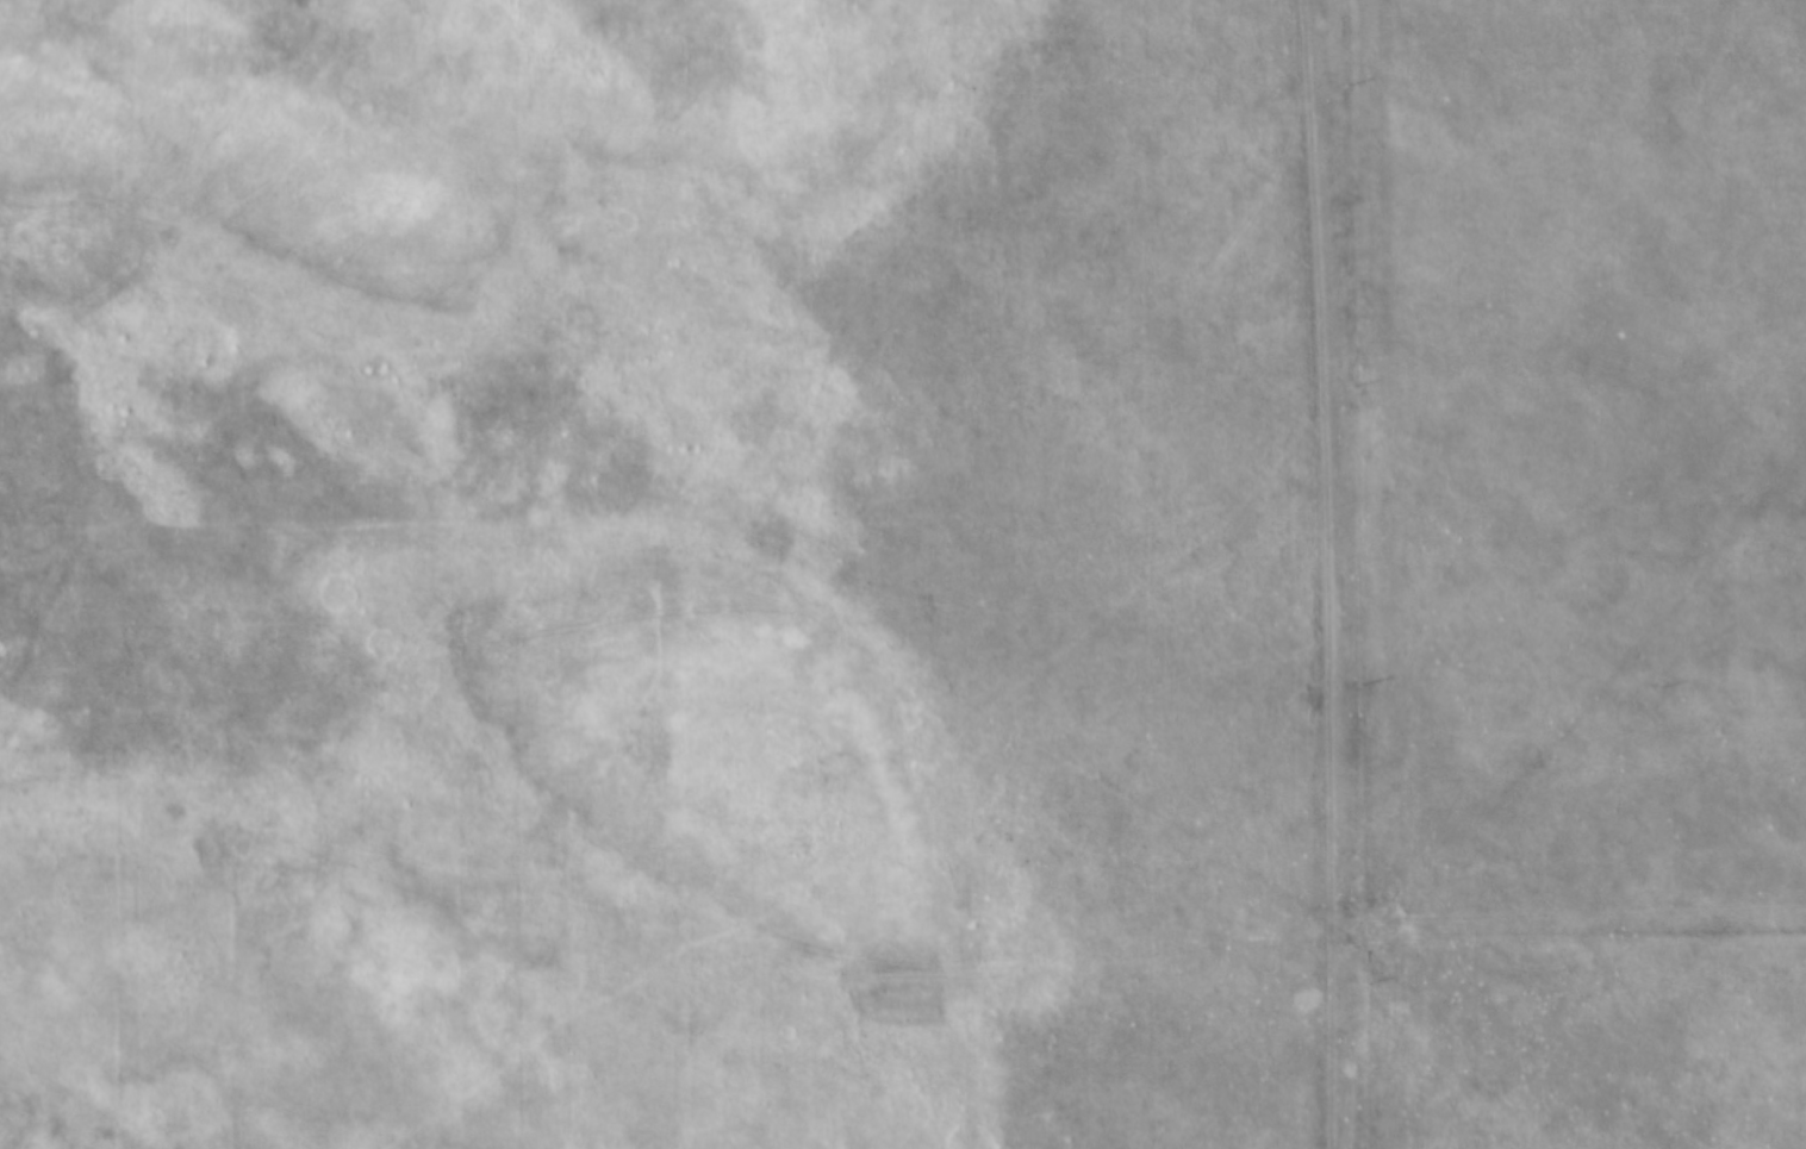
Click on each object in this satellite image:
road: (1327, 574)

